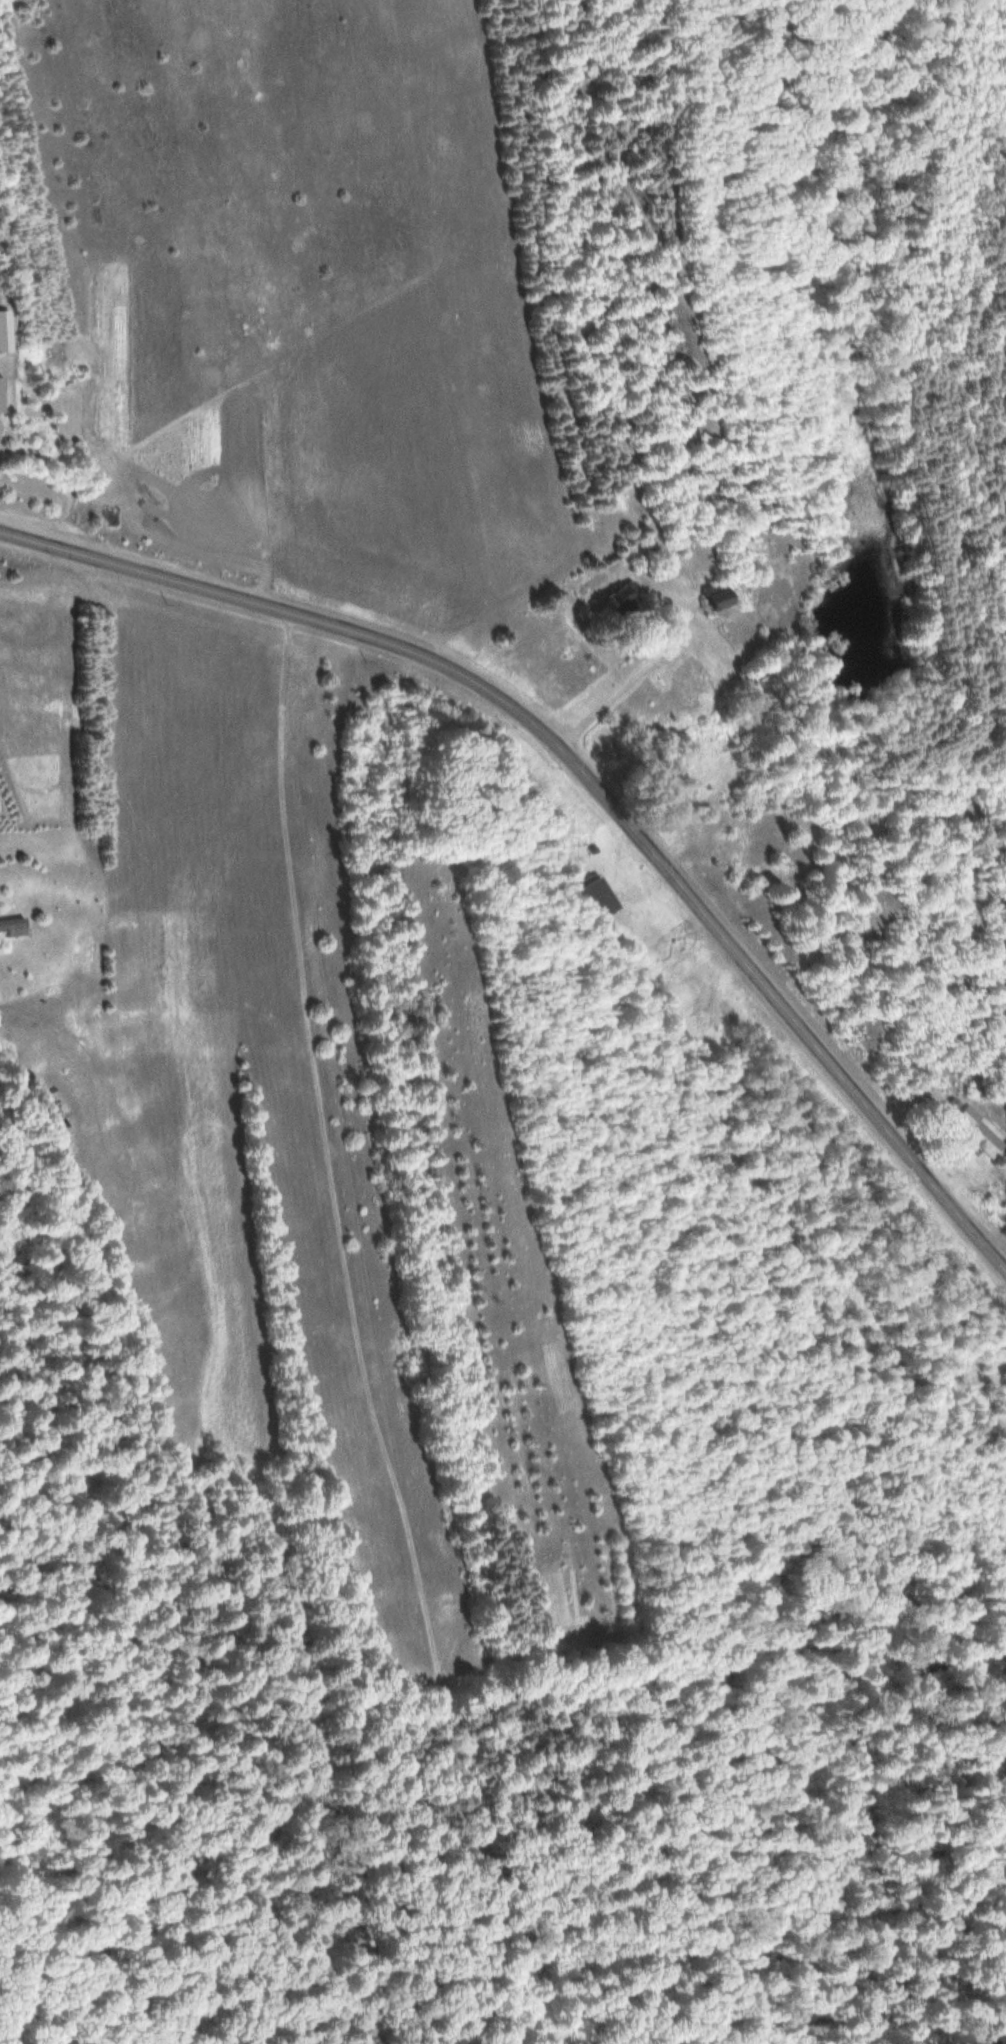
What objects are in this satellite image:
building: (4, 332)
building: (0, 395)
building: (714, 596)
building: (621, 598)
building: (752, 676)
road: (585, 777)
building: (600, 898)
building: (12, 928)
building: (978, 1133)

